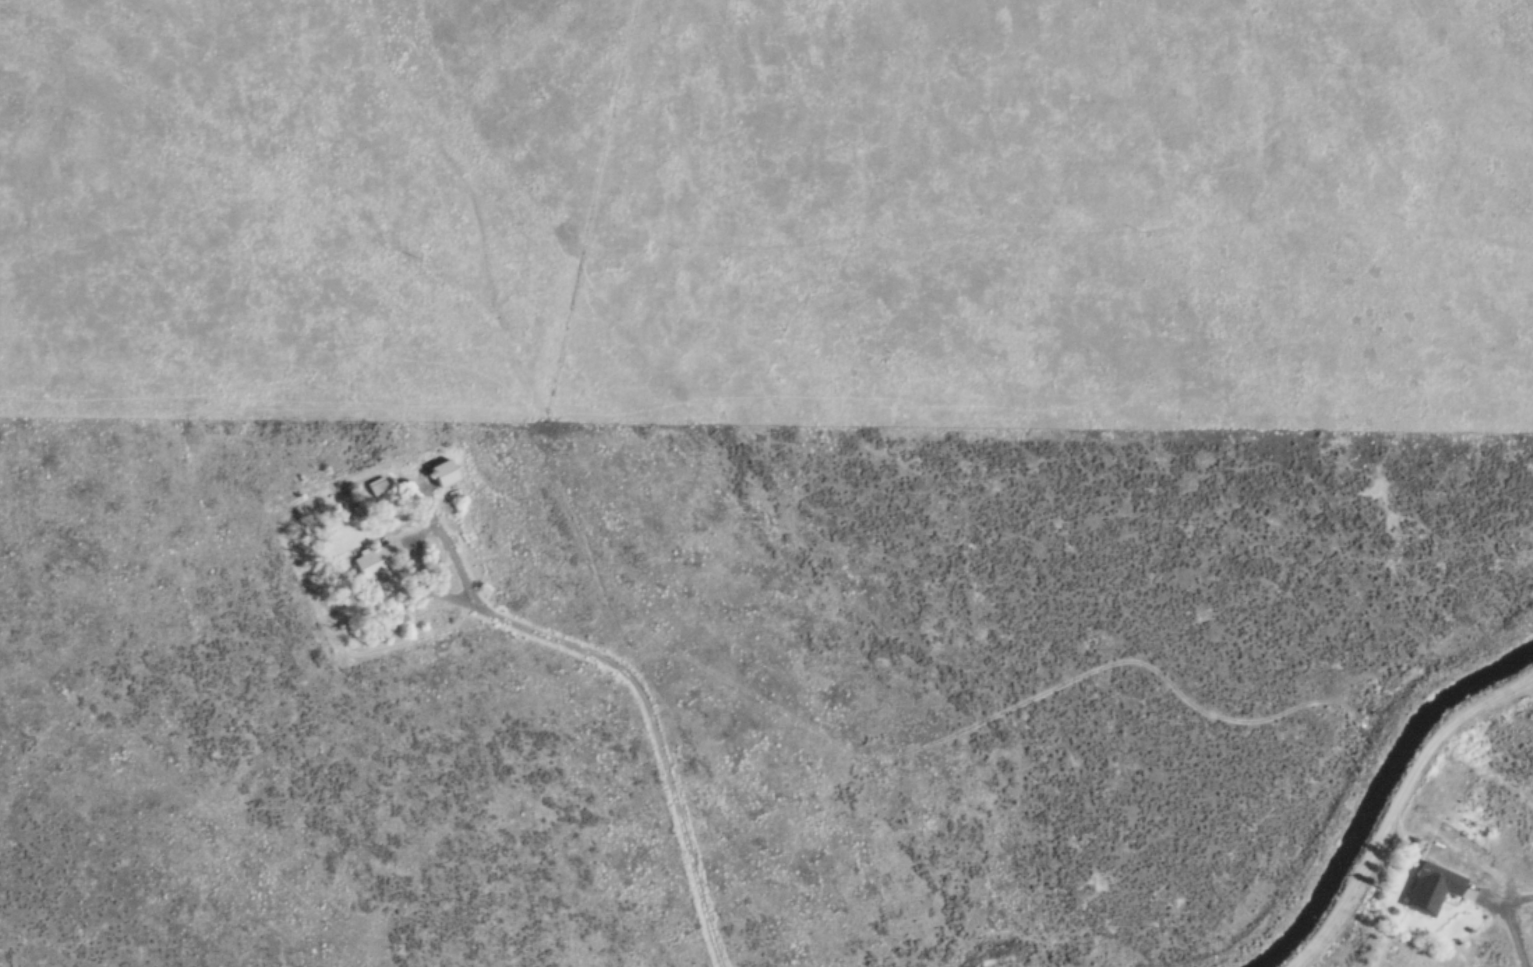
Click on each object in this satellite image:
road: (836, 295)
building: (438, 473)
building: (373, 486)
road: (576, 529)
building: (373, 561)
road: (416, 578)
road: (624, 653)
road: (624, 673)
road: (986, 718)
road: (1401, 806)
building: (1427, 888)
road: (1485, 898)
road: (1510, 923)

